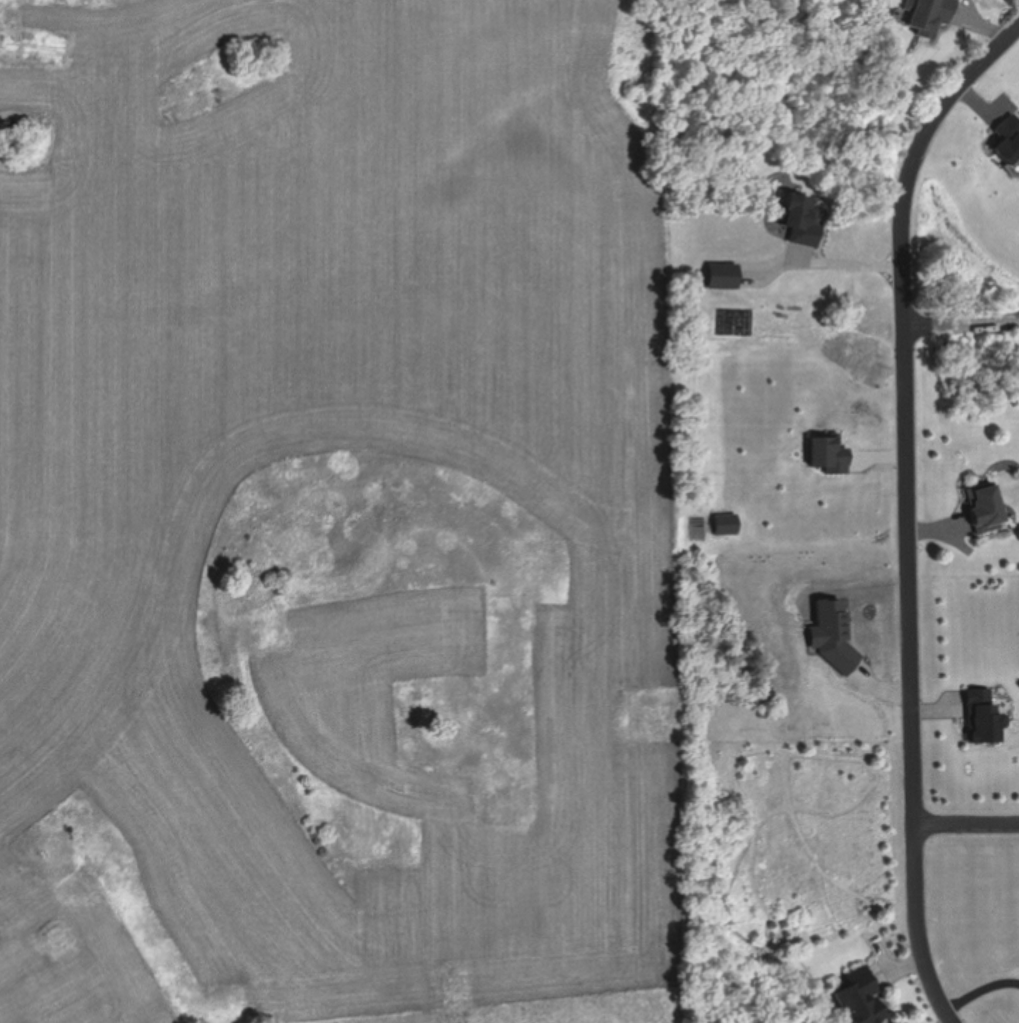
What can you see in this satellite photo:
building: (927, 14)
building: (800, 221)
road: (849, 262)
building: (723, 275)
road: (952, 322)
road: (910, 501)
building: (986, 507)
road: (968, 823)
road: (981, 991)
building: (866, 999)

